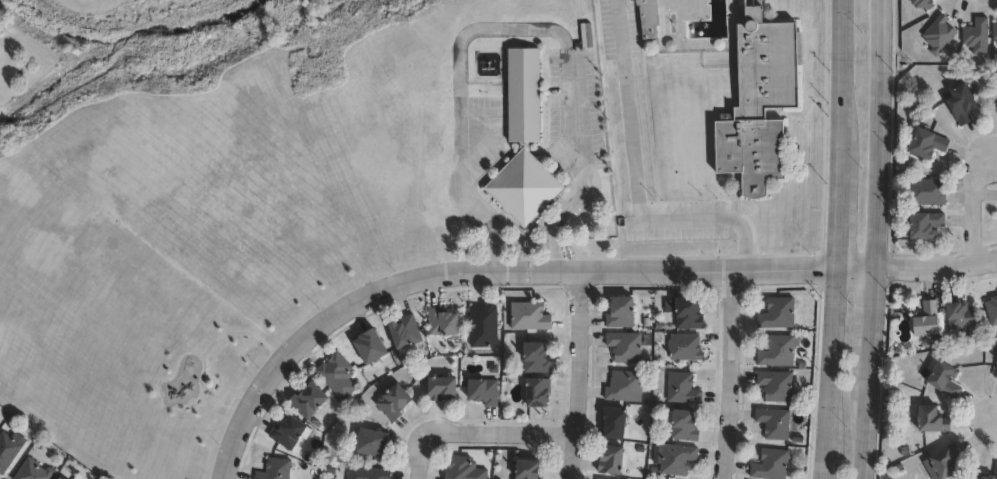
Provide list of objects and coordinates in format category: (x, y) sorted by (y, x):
building: (917, 3)
building: (650, 18)
road: (507, 27)
building: (992, 34)
building: (933, 35)
building: (971, 36)
building: (526, 94)
building: (961, 103)
building: (764, 105)
building: (925, 145)
road: (635, 183)
building: (525, 188)
building: (926, 193)
road: (974, 211)
park: (152, 222)
building: (926, 226)
road: (839, 239)
road: (873, 239)
road: (483, 275)
road: (918, 275)
building: (991, 310)
building: (686, 311)
building: (621, 312)
building: (778, 313)
building: (960, 315)
building: (530, 316)
building: (927, 319)
building: (441, 322)
building: (484, 325)
building: (405, 333)
building: (625, 346)
building: (372, 347)
building: (683, 347)
building: (778, 351)
building: (536, 358)
building: (995, 370)
road: (732, 375)
building: (337, 376)
road: (579, 376)
building: (943, 377)
building: (776, 385)
building: (625, 386)
building: (442, 388)
building: (683, 388)
building: (484, 391)
building: (538, 391)
building: (308, 400)
building: (393, 401)
building: (933, 419)
building: (615, 422)
building: (775, 422)
road: (996, 422)
building: (683, 424)
building: (290, 432)
road: (479, 435)
building: (372, 442)
building: (7, 450)
building: (613, 459)
building: (677, 459)
building: (942, 462)
building: (771, 465)
building: (995, 468)
building: (275, 469)
building: (464, 469)
building: (528, 469)
building: (33, 471)
building: (368, 472)
building: (59, 478)
building: (599, 478)

